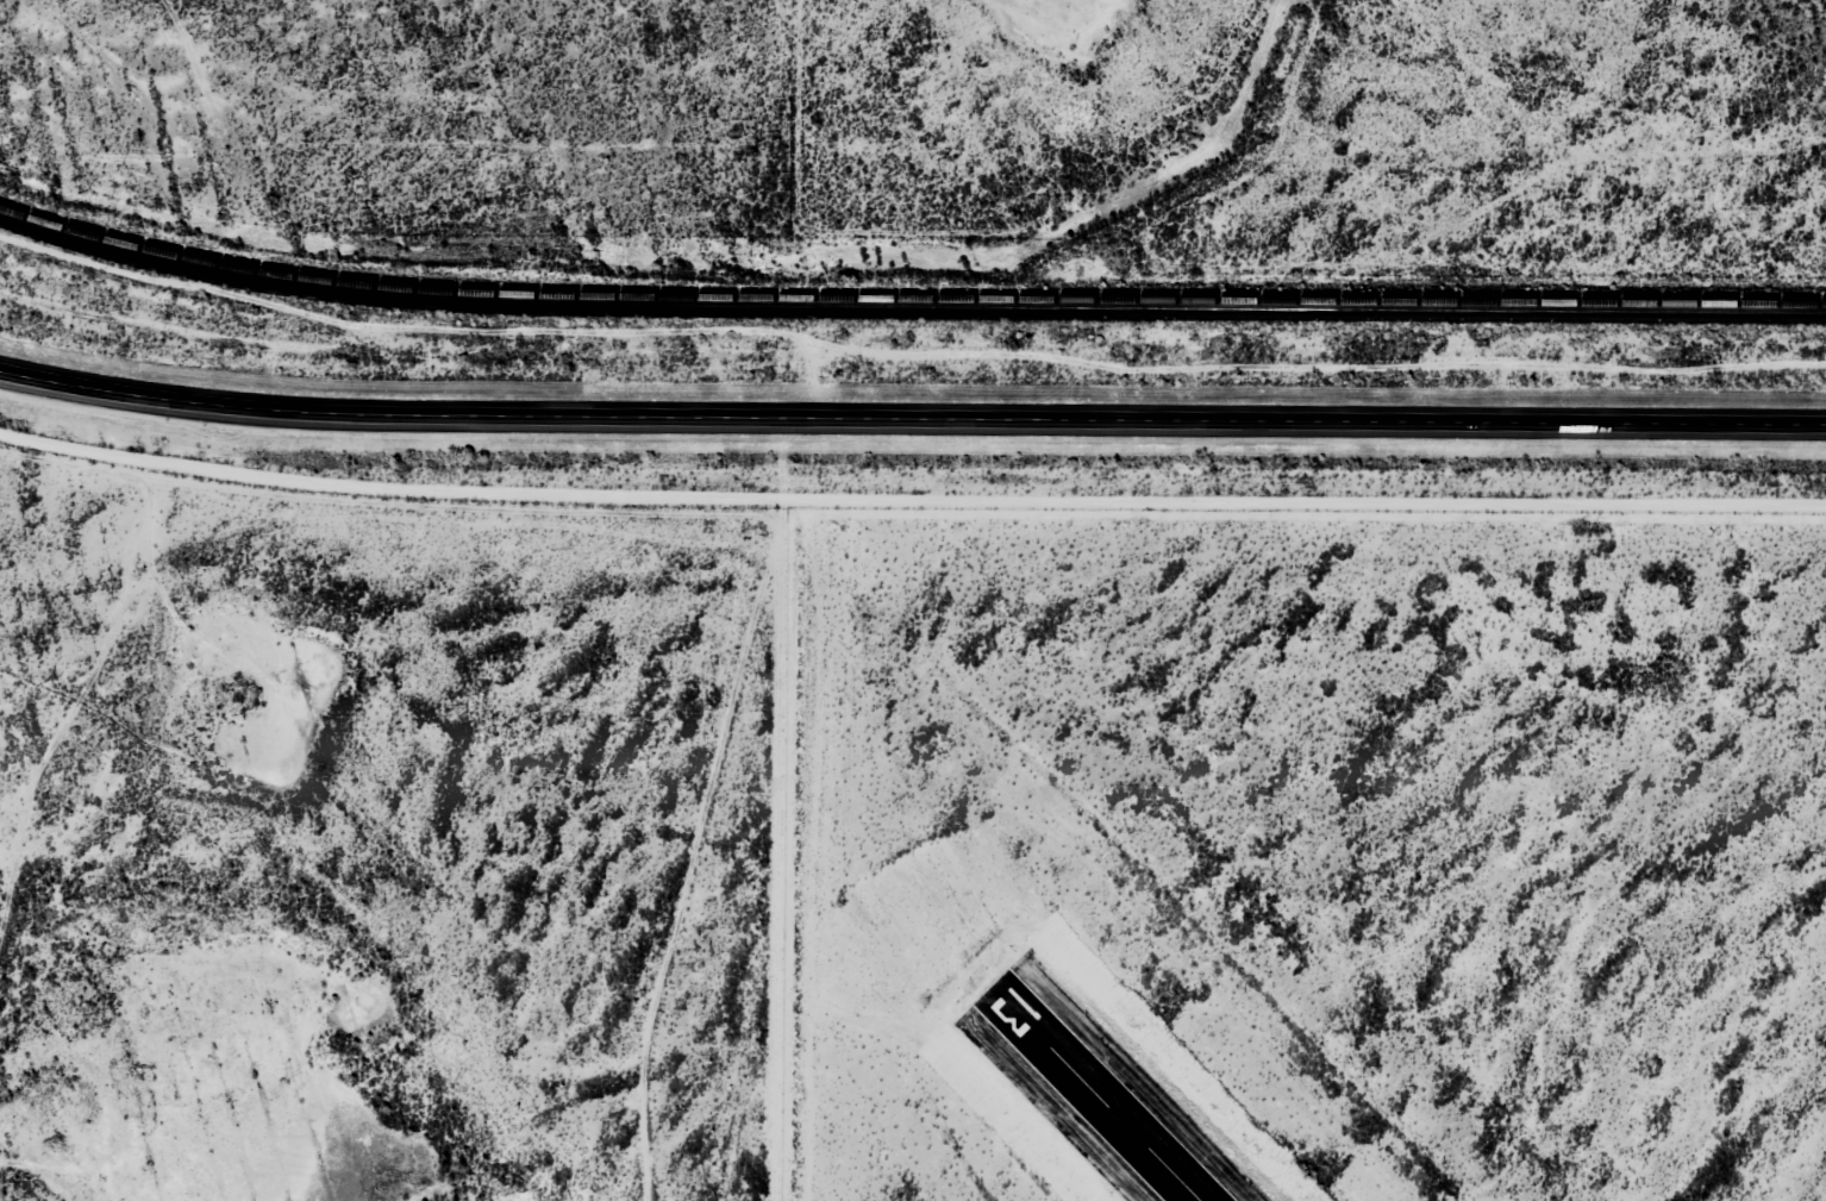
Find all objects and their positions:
railway: (908, 298)
railway: (908, 308)
road: (911, 420)
road: (777, 811)
airport runway: (1095, 1095)

